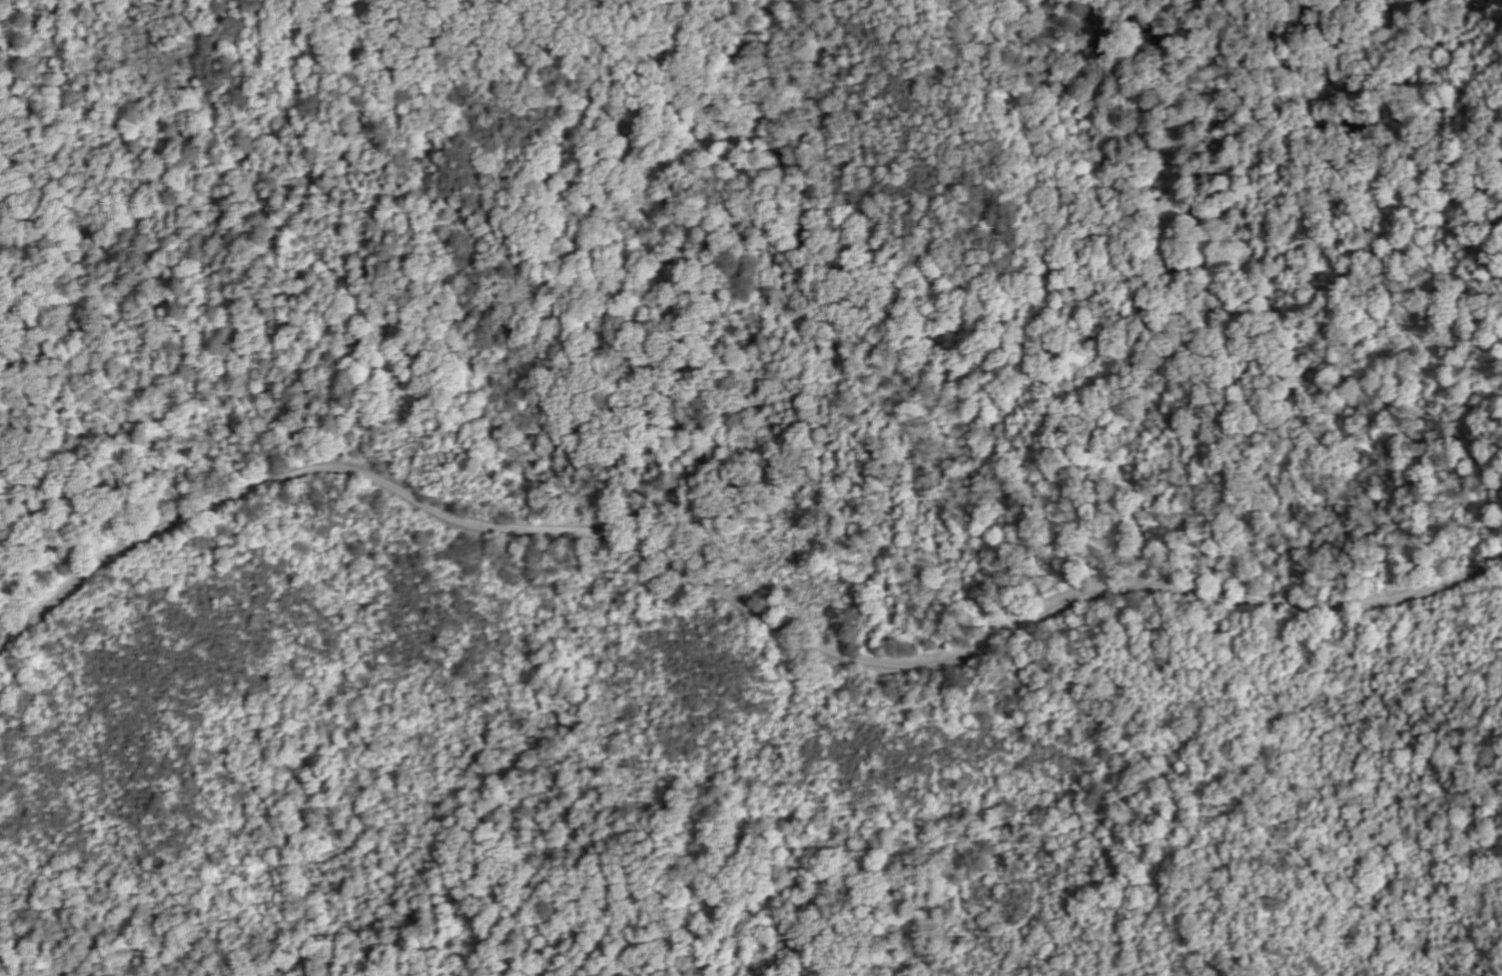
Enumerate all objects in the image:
road: (730, 597)
road: (1123, 784)

